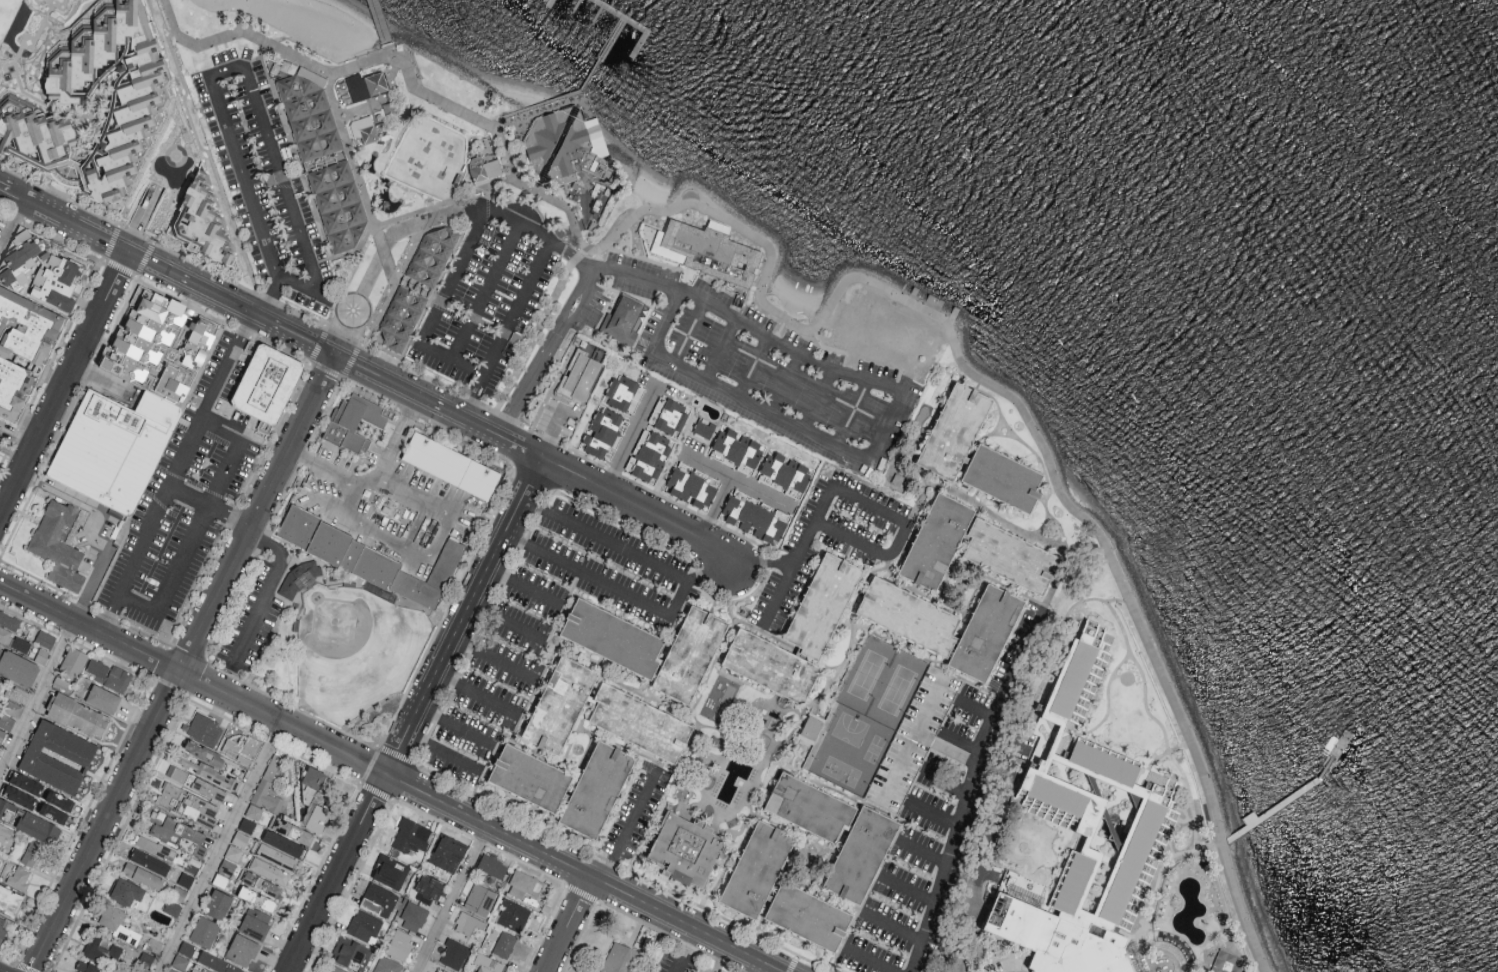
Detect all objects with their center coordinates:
pier: (575, 5)
pier: (550, 6)
park: (7, 15)
road: (379, 23)
pier: (379, 24)
pier: (638, 28)
park: (219, 31)
road: (265, 43)
road: (388, 51)
road: (239, 68)
road: (589, 77)
building: (366, 84)
road: (431, 99)
building: (138, 107)
road: (534, 109)
building: (308, 114)
building: (365, 128)
building: (565, 148)
building: (325, 159)
building: (430, 159)
building: (488, 170)
road: (533, 193)
road: (523, 202)
building: (339, 206)
road: (369, 207)
road: (142, 224)
building: (203, 224)
road: (12, 227)
building: (705, 252)
building: (432, 257)
road: (387, 258)
building: (19, 259)
road: (378, 259)
building: (55, 279)
road: (277, 280)
road: (662, 284)
parking lot: (489, 296)
road: (517, 306)
building: (401, 319)
building: (622, 320)
road: (269, 324)
road: (427, 328)
road: (374, 331)
road: (688, 333)
building: (143, 336)
road: (534, 340)
building: (197, 344)
building: (22, 345)
road: (720, 349)
road: (752, 365)
road: (468, 368)
building: (580, 375)
road: (63, 382)
road: (785, 382)
building: (266, 384)
building: (621, 392)
road: (818, 399)
road: (1023, 405)
road: (765, 408)
road: (853, 412)
building: (672, 417)
building: (353, 422)
building: (0, 426)
building: (264, 426)
building: (704, 428)
road: (552, 431)
building: (953, 432)
building: (602, 433)
road: (628, 439)
building: (739, 447)
building: (114, 448)
building: (650, 456)
building: (451, 465)
road: (175, 473)
building: (787, 473)
building: (1000, 479)
road: (734, 480)
road: (358, 484)
building: (691, 487)
parking lot: (184, 499)
road: (858, 499)
road: (78, 503)
road: (1, 505)
road: (210, 506)
road: (979, 506)
road: (636, 508)
road: (714, 509)
road: (344, 511)
building: (754, 519)
road: (198, 525)
building: (297, 525)
road: (604, 540)
road: (433, 542)
building: (934, 543)
building: (58, 544)
road: (1068, 555)
building: (1009, 557)
road: (889, 563)
building: (386, 564)
road: (761, 564)
building: (85, 565)
building: (300, 576)
road: (521, 586)
road: (263, 594)
road: (623, 594)
road: (856, 598)
building: (820, 607)
road: (461, 615)
building: (907, 618)
building: (9, 621)
road: (505, 621)
parking lot: (249, 622)
road: (1120, 622)
building: (985, 634)
building: (45, 639)
building: (611, 639)
building: (13, 640)
building: (0, 652)
park: (351, 652)
building: (691, 657)
road: (54, 658)
road: (492, 659)
road: (925, 660)
building: (74, 661)
road: (184, 664)
building: (771, 667)
building: (18, 668)
building: (98, 669)
road: (1119, 674)
park: (865, 675)
road: (190, 677)
building: (118, 679)
building: (1, 681)
park: (896, 690)
building: (16, 693)
road: (476, 693)
building: (103, 698)
building: (558, 706)
building: (12, 708)
road: (976, 708)
building: (77, 715)
building: (6, 721)
building: (638, 723)
road: (453, 727)
building: (811, 727)
building: (205, 729)
park: (844, 730)
building: (2, 735)
building: (913, 737)
road: (959, 741)
building: (242, 748)
road: (441, 750)
building: (204, 753)
building: (58, 756)
park: (849, 761)
road: (1175, 762)
road: (1146, 768)
building: (208, 773)
building: (177, 774)
building: (527, 779)
road: (946, 781)
building: (314, 783)
building: (269, 785)
road: (969, 788)
building: (23, 790)
building: (208, 790)
building: (594, 793)
building: (168, 795)
building: (60, 801)
building: (807, 808)
building: (198, 809)
pier: (1273, 809)
building: (7, 811)
building: (254, 812)
building: (53, 814)
road: (934, 814)
building: (317, 818)
road: (628, 826)
building: (37, 827)
building: (292, 830)
building: (3, 834)
building: (1086, 834)
building: (180, 835)
building: (411, 836)
building: (240, 839)
building: (284, 844)
building: (152, 846)
road: (220, 847)
building: (685, 850)
building: (233, 852)
building: (448, 853)
road: (923, 853)
building: (33, 854)
building: (860, 856)
building: (276, 857)
road: (980, 858)
building: (0, 860)
building: (149, 862)
building: (227, 866)
building: (492, 868)
building: (270, 871)
building: (754, 871)
road: (333, 872)
building: (390, 872)
road: (579, 872)
building: (143, 875)
building: (19, 877)
building: (186, 879)
building: (220, 880)
building: (263, 885)
building: (524, 886)
building: (427, 889)
road: (907, 889)
building: (127, 892)
building: (257, 898)
road: (450, 898)
building: (10, 899)
building: (379, 899)
building: (479, 901)
building: (218, 904)
building: (172, 908)
road: (1216, 912)
road: (1167, 914)
building: (414, 916)
building: (513, 917)
building: (807, 918)
building: (117, 923)
building: (255, 923)
building: (364, 925)
building: (467, 925)
road: (568, 925)
building: (2, 926)
road: (892, 928)
building: (204, 931)
building: (400, 943)
building: (504, 946)
building: (187, 948)
building: (242, 950)
building: (102, 951)
road: (684, 951)
building: (352, 954)
building: (454, 955)
road: (1145, 955)
building: (621, 960)
road: (870, 960)
building: (180, 962)
building: (1227, 962)
building: (217, 963)
building: (487, 964)
building: (388, 965)
building: (86, 967)
building: (335, 969)
building: (172, 970)
building: (442, 971)

